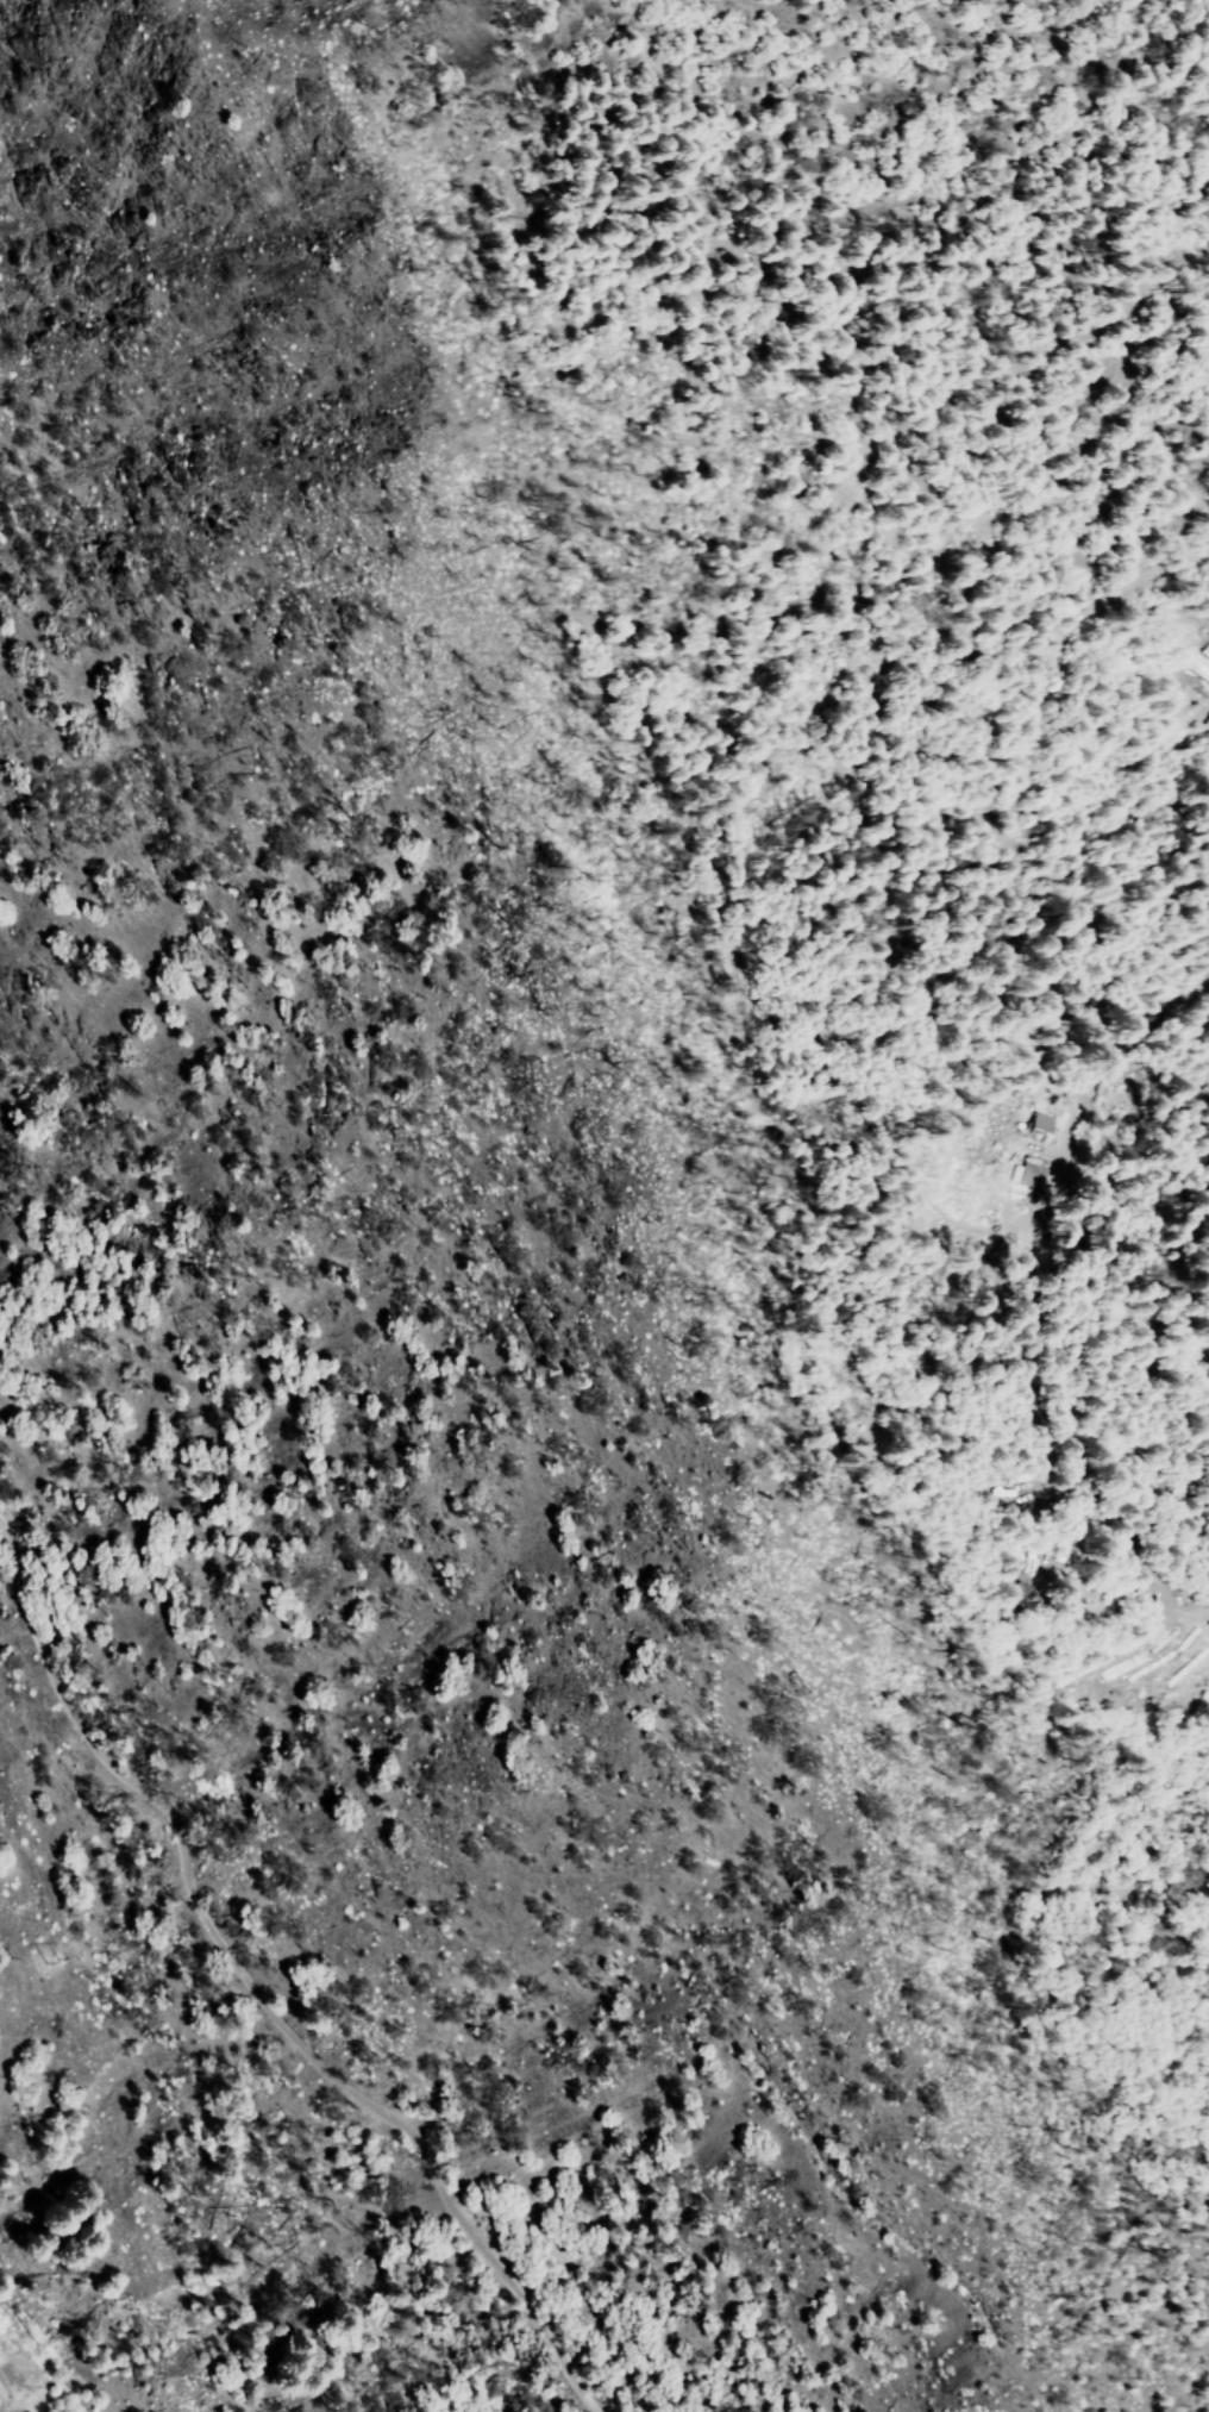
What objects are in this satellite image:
road: (1038, 787)
building: (1038, 1126)
building: (1026, 1169)
building: (1013, 1599)
power tower: (38, 1952)
road: (275, 1975)

